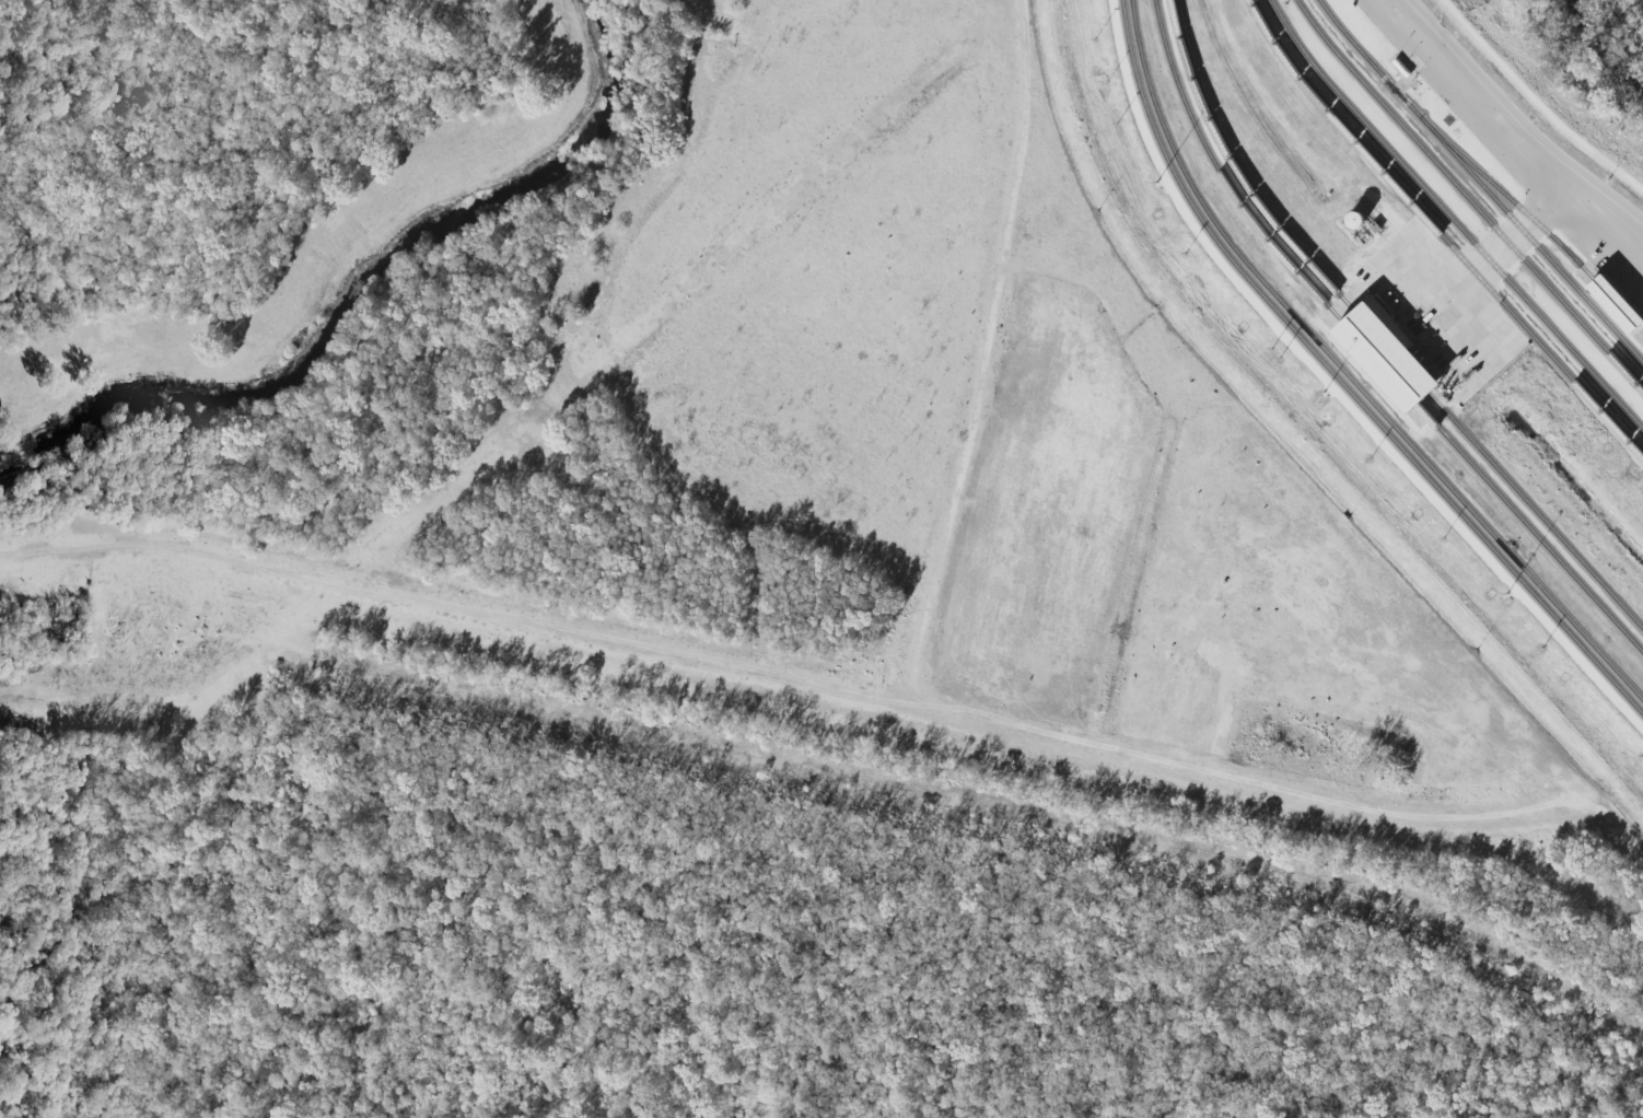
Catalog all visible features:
road: (1536, 105)
road: (1506, 140)
river: (358, 289)
building: (1613, 304)
building: (1376, 356)
road: (980, 357)
railway: (1345, 374)
railway: (1338, 384)
road: (825, 692)

